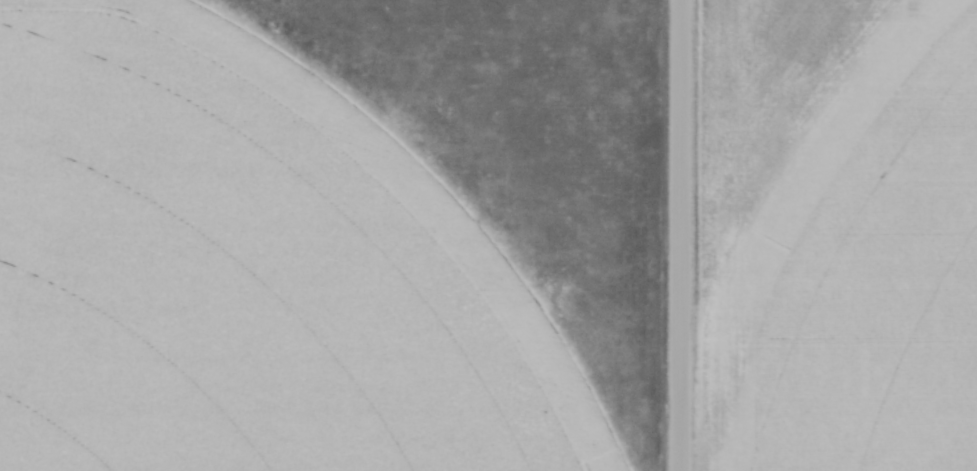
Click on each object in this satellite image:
road: (676, 235)

